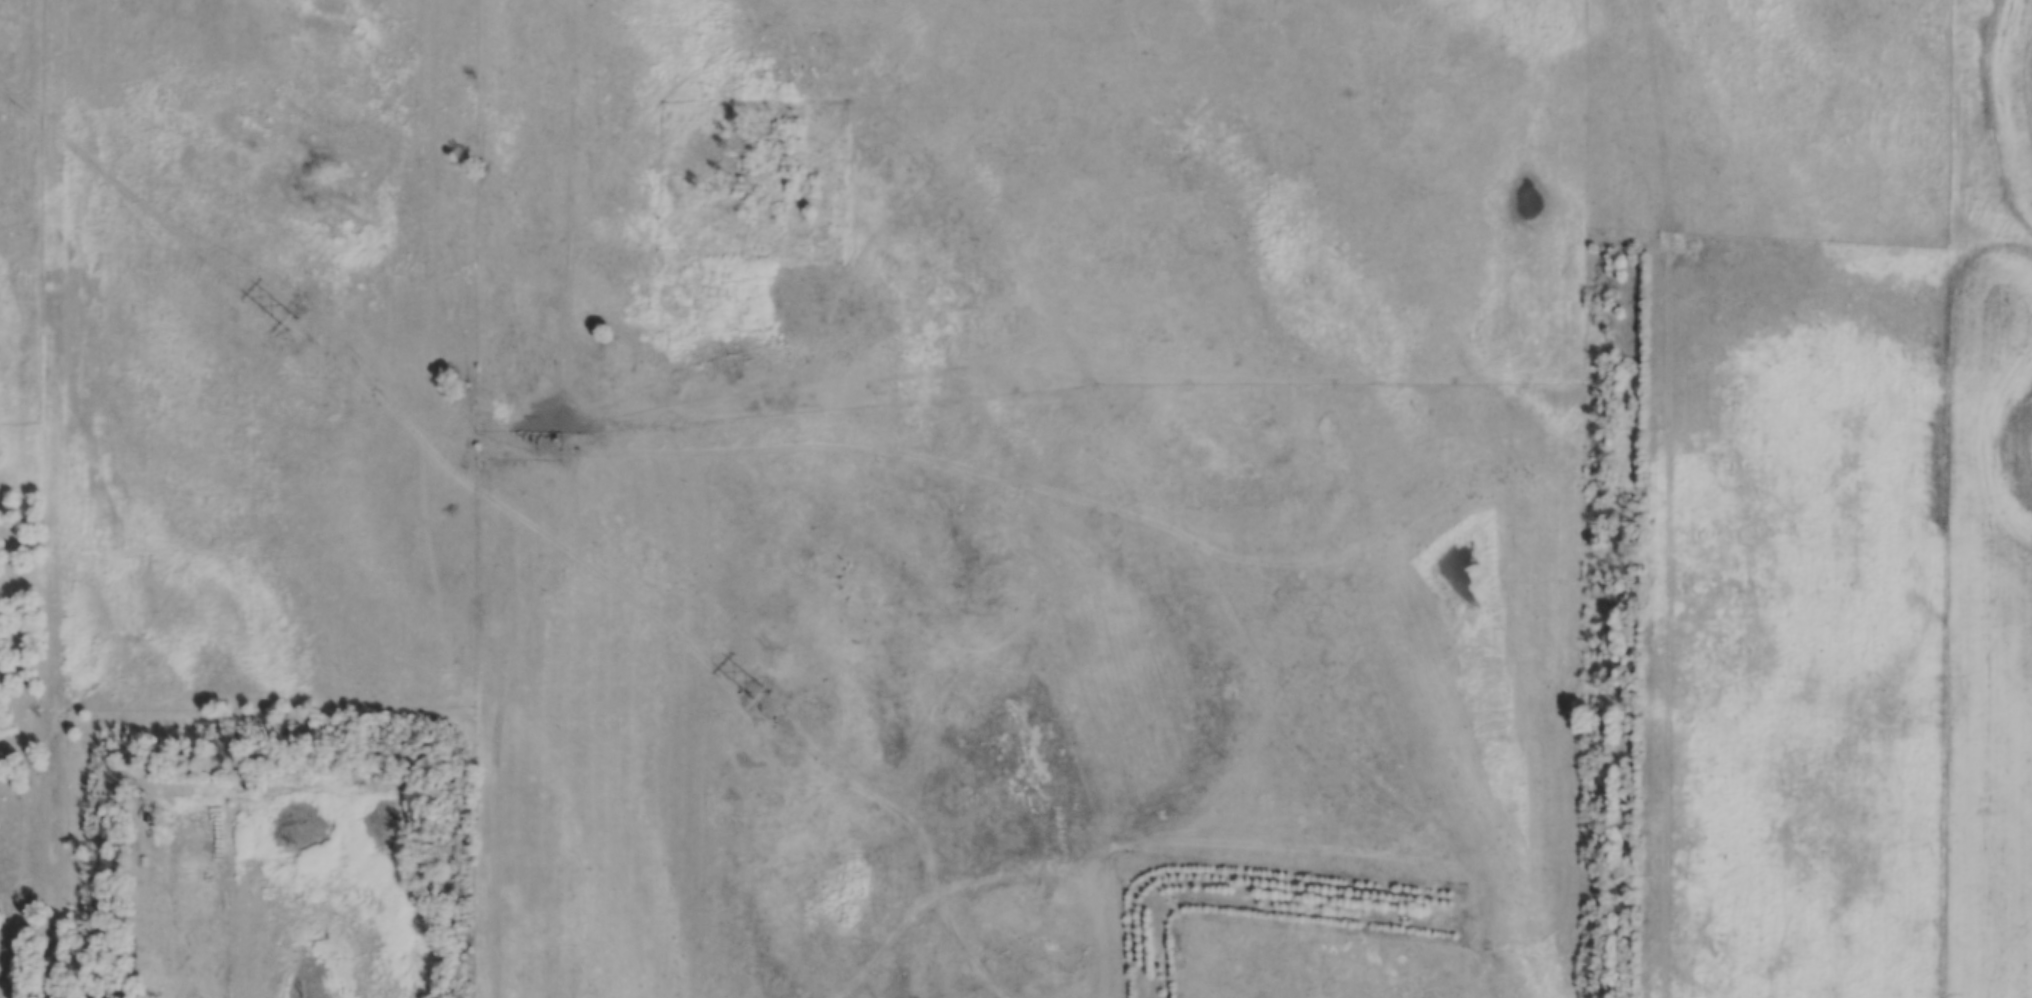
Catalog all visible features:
power tower: (291, 320)
road: (1958, 499)
road: (1159, 501)
power tower: (760, 689)

